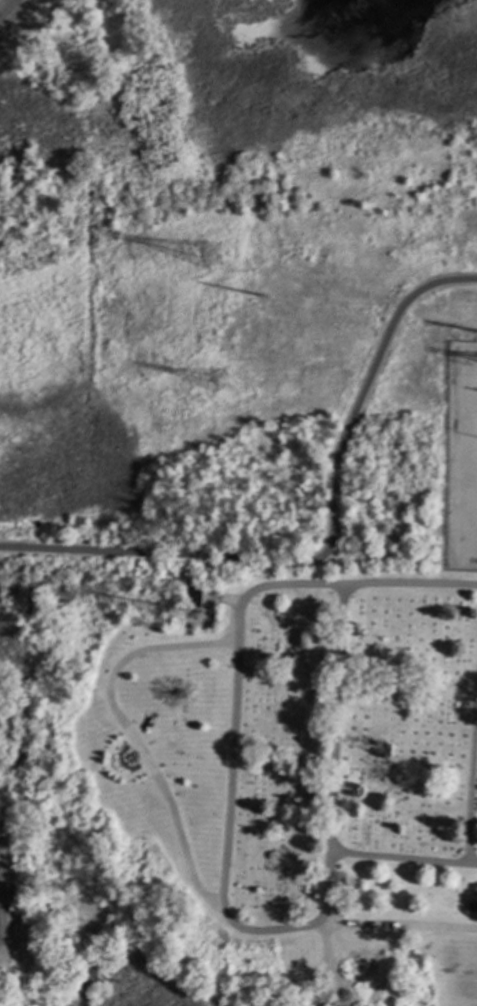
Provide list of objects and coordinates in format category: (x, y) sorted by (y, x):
road: (11, 13)
power tower: (213, 259)
power tower: (262, 296)
power tower: (219, 382)
power substation: (462, 459)
road: (327, 543)
road: (349, 561)
building: (199, 596)
park: (355, 757)
road: (228, 767)
building: (474, 905)

